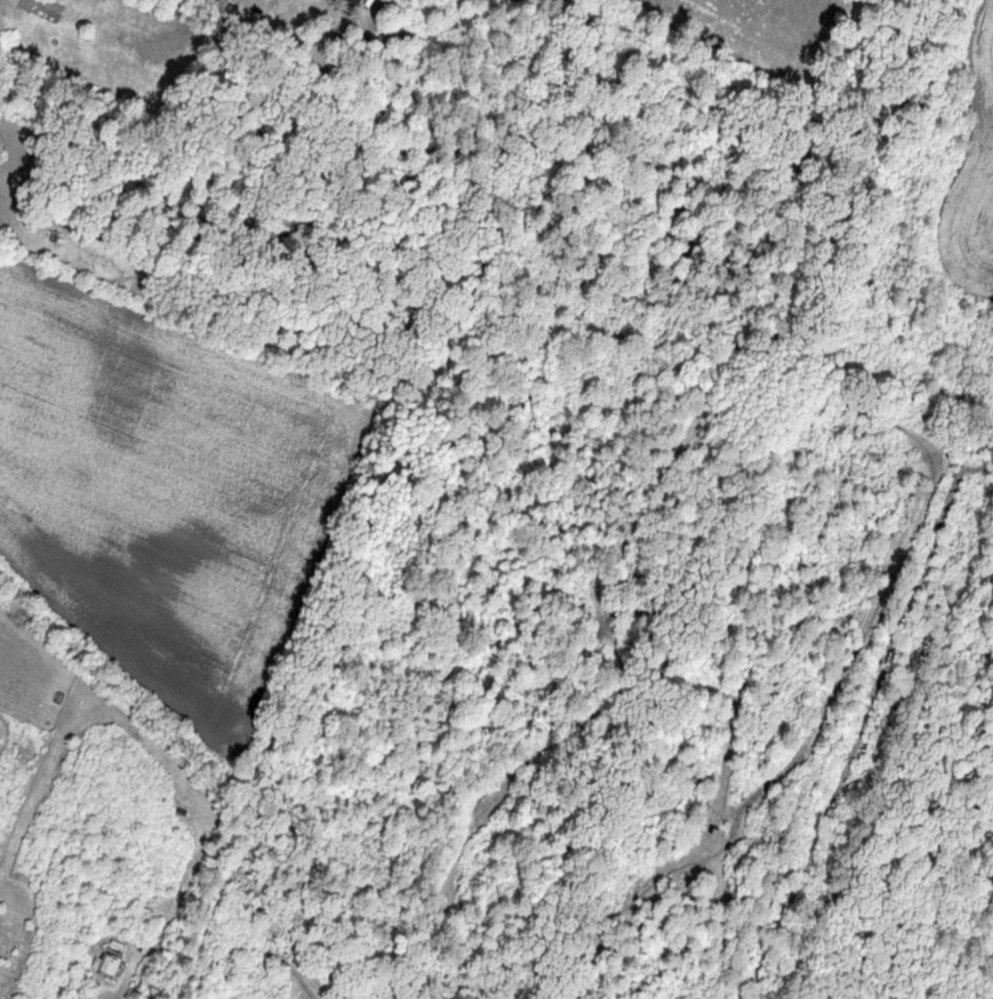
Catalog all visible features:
road: (206, 1)
crop: (752, 21)
crop: (942, 243)
crop: (167, 490)
building: (107, 964)

